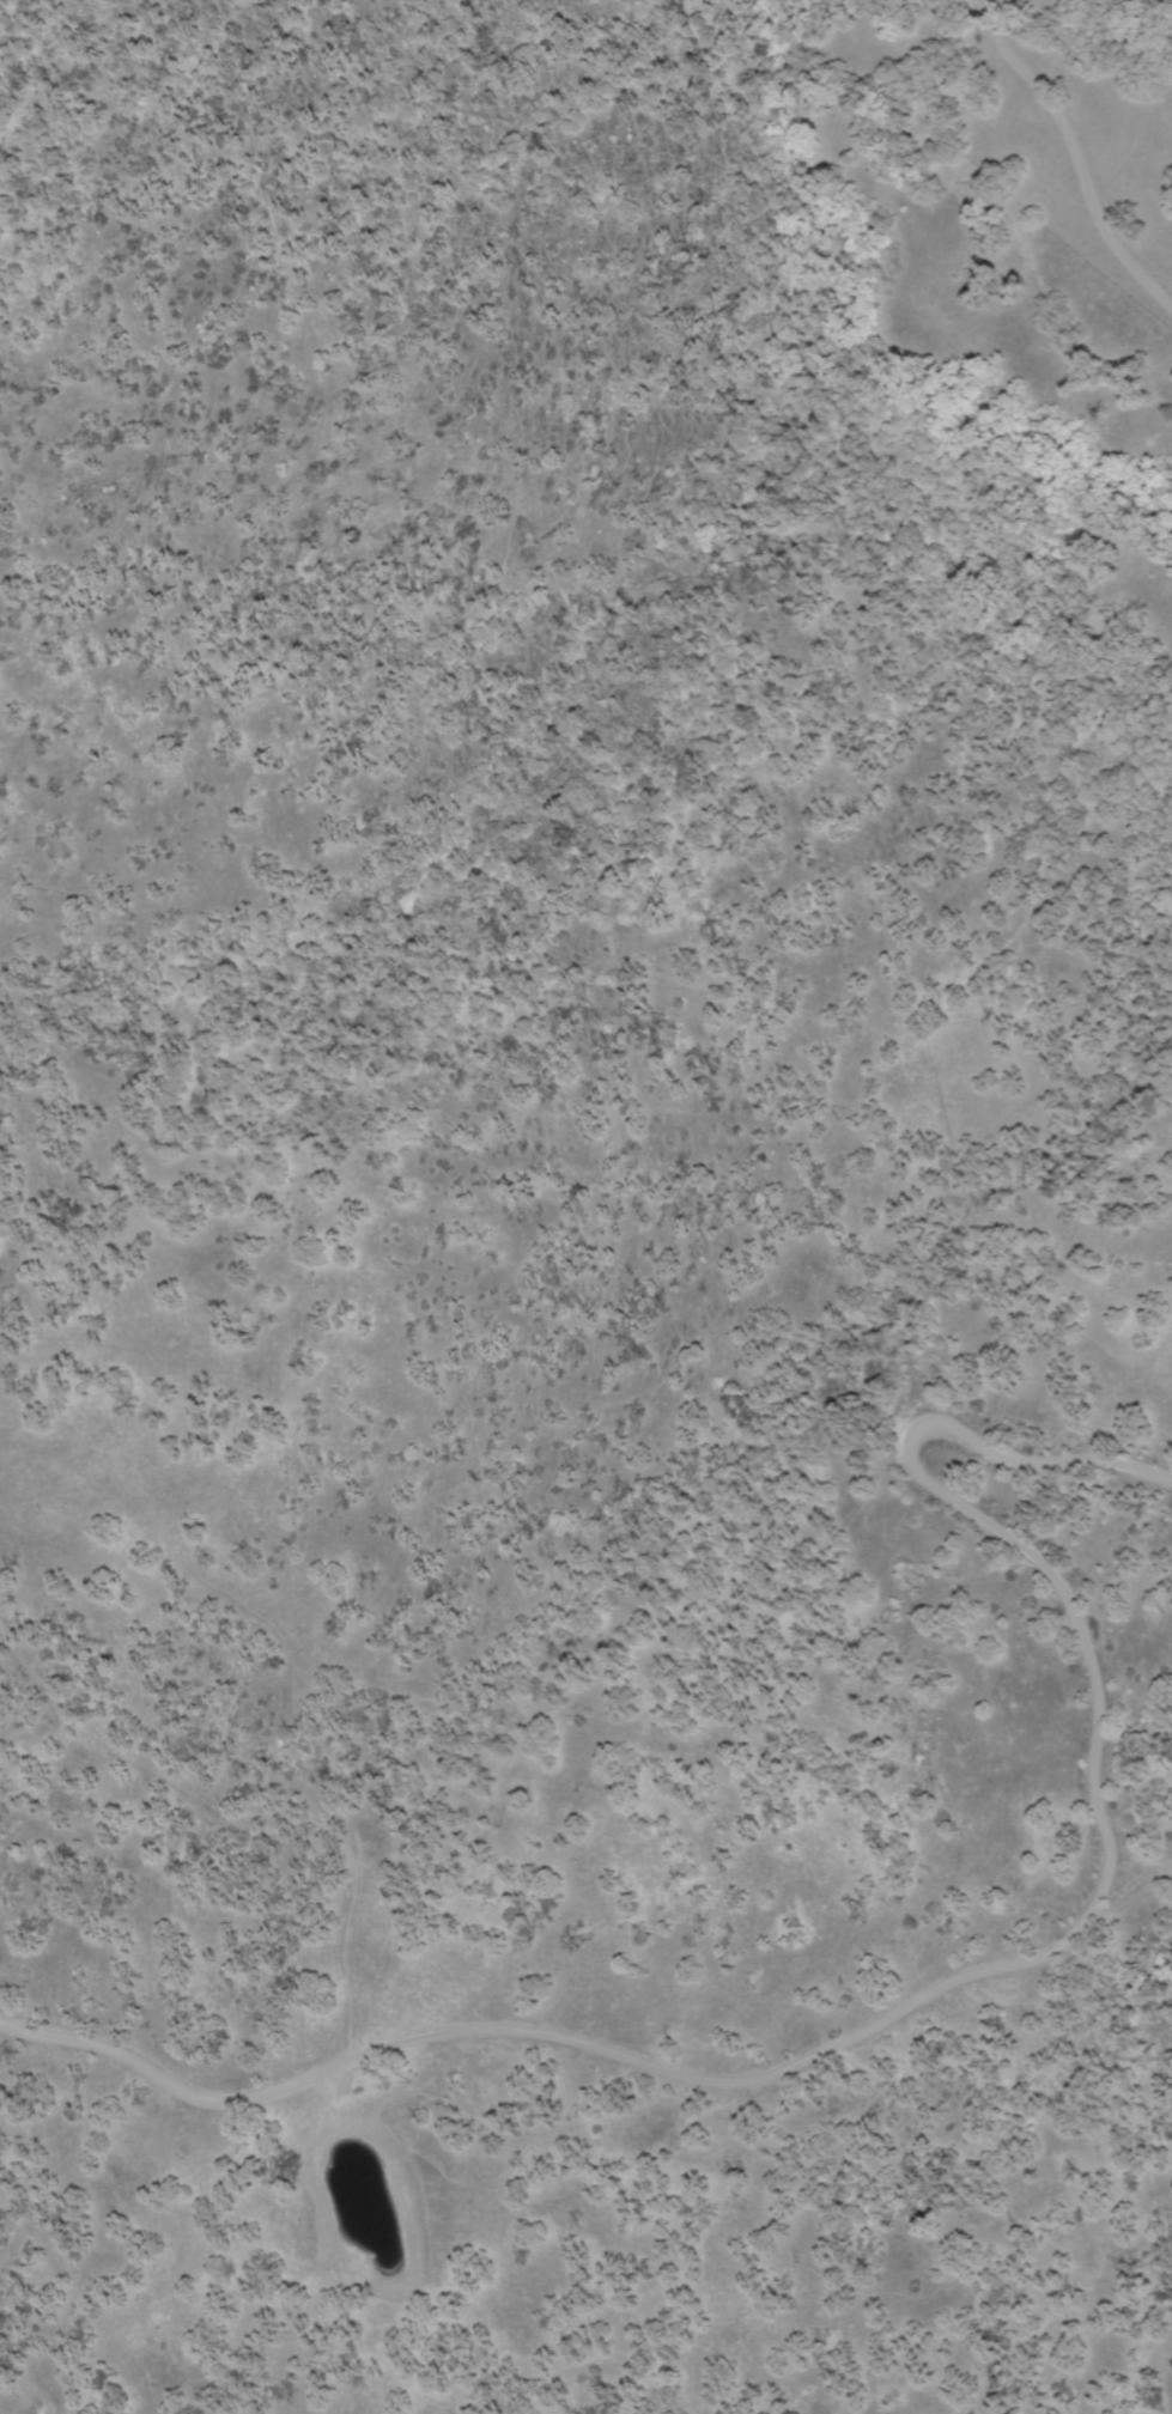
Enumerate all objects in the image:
road: (1079, 151)
road: (949, 1987)

